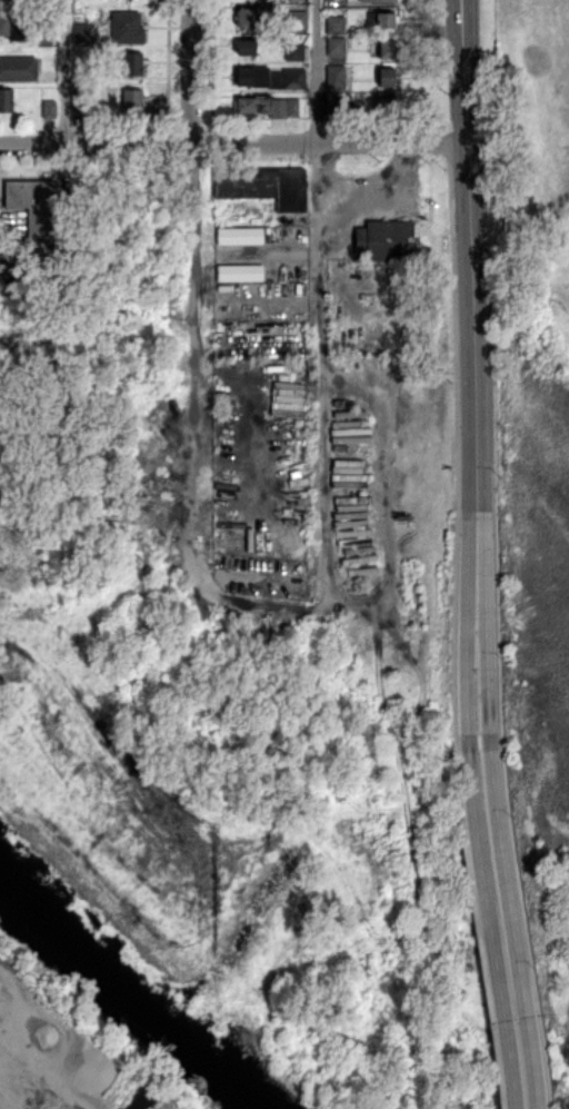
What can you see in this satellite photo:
building: (295, 0)
building: (378, 0)
building: (248, 14)
building: (297, 19)
building: (380, 19)
building: (335, 23)
building: (12, 27)
building: (126, 27)
building: (336, 44)
building: (246, 46)
building: (381, 48)
building: (295, 50)
building: (130, 63)
building: (18, 68)
road: (64, 71)
building: (252, 76)
building: (335, 76)
building: (385, 76)
building: (288, 77)
building: (6, 99)
building: (131, 100)
building: (244, 103)
building: (388, 105)
building: (335, 106)
building: (48, 108)
road: (232, 142)
building: (263, 185)
park: (528, 191)
road: (390, 196)
building: (32, 206)
building: (239, 235)
building: (385, 238)
road: (274, 250)
building: (239, 271)
road: (469, 297)
road: (196, 300)
road: (318, 301)
road: (386, 498)
road: (261, 603)
road: (486, 671)
road: (467, 672)
road: (490, 929)
road: (512, 929)
river: (124, 996)

